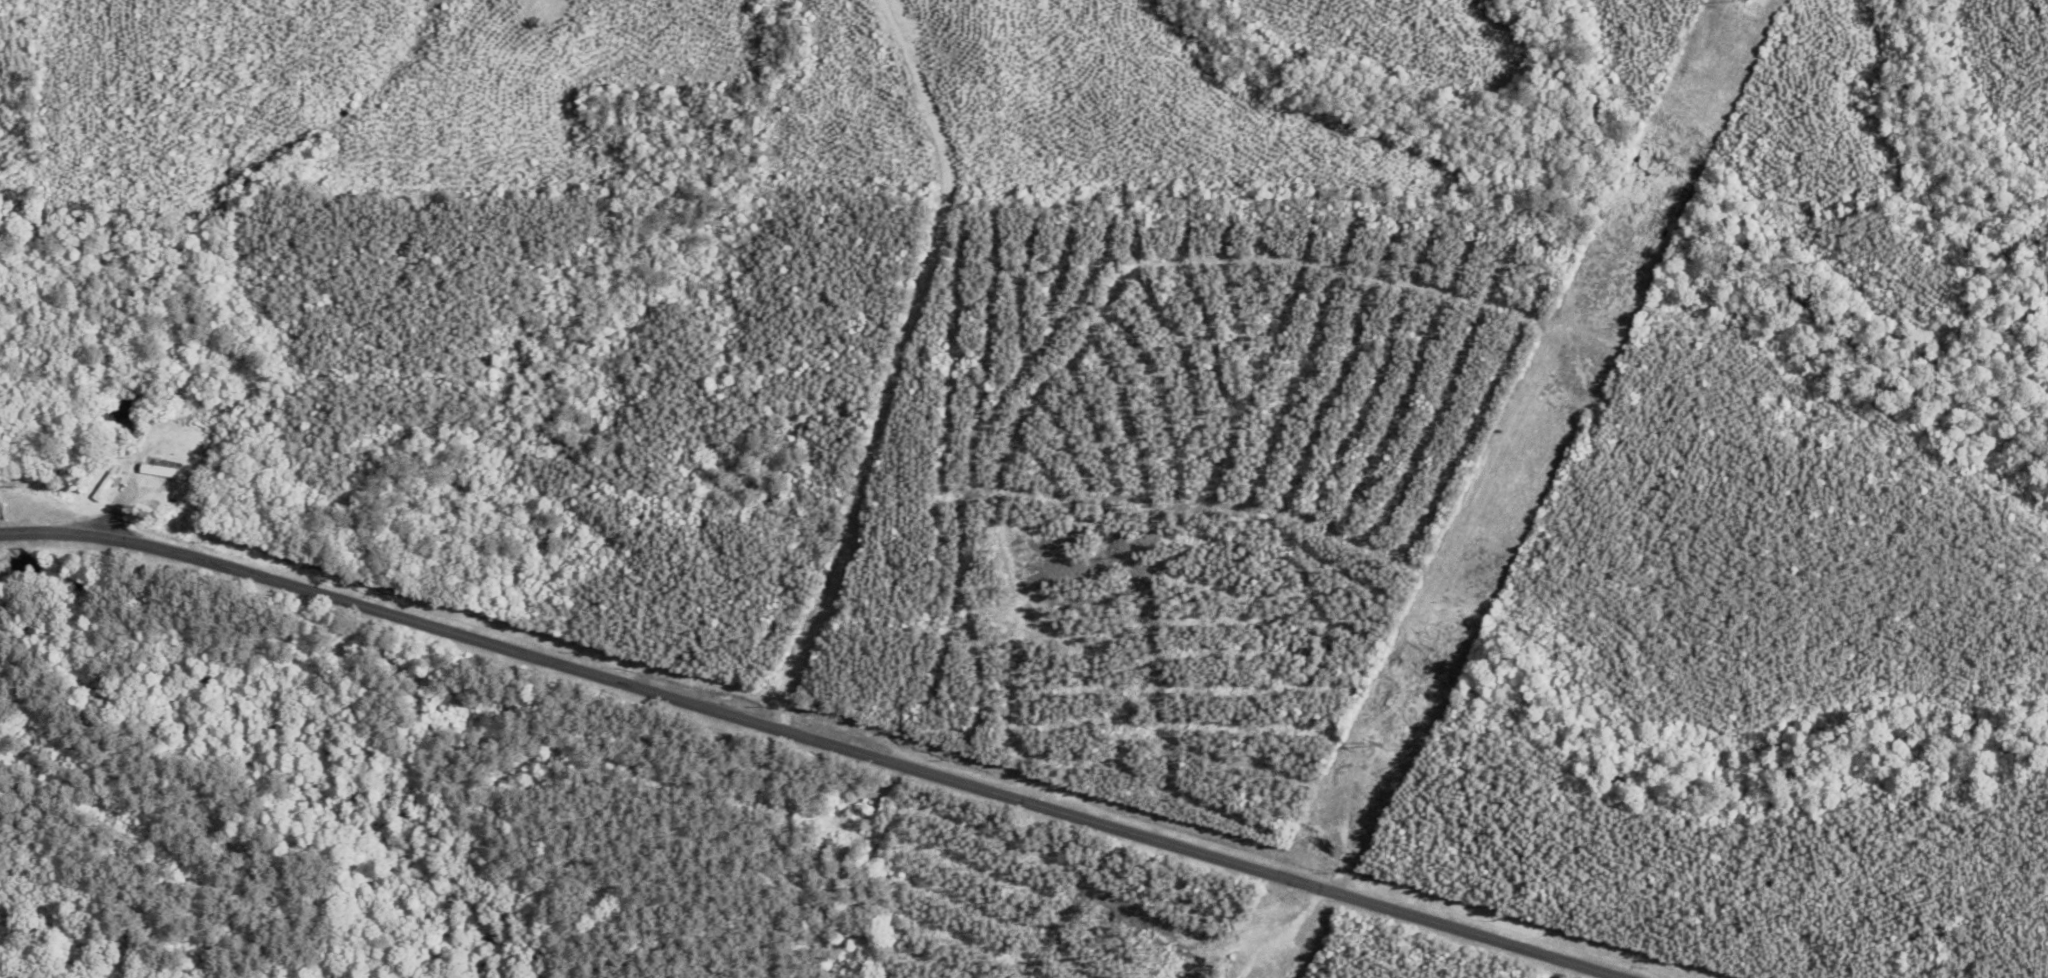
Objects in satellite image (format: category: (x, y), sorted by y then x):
power tower: (1741, 1)
road: (901, 364)
building: (174, 424)
building: (161, 473)
building: (105, 486)
road: (646, 690)
power tower: (1379, 745)
road: (1452, 928)

